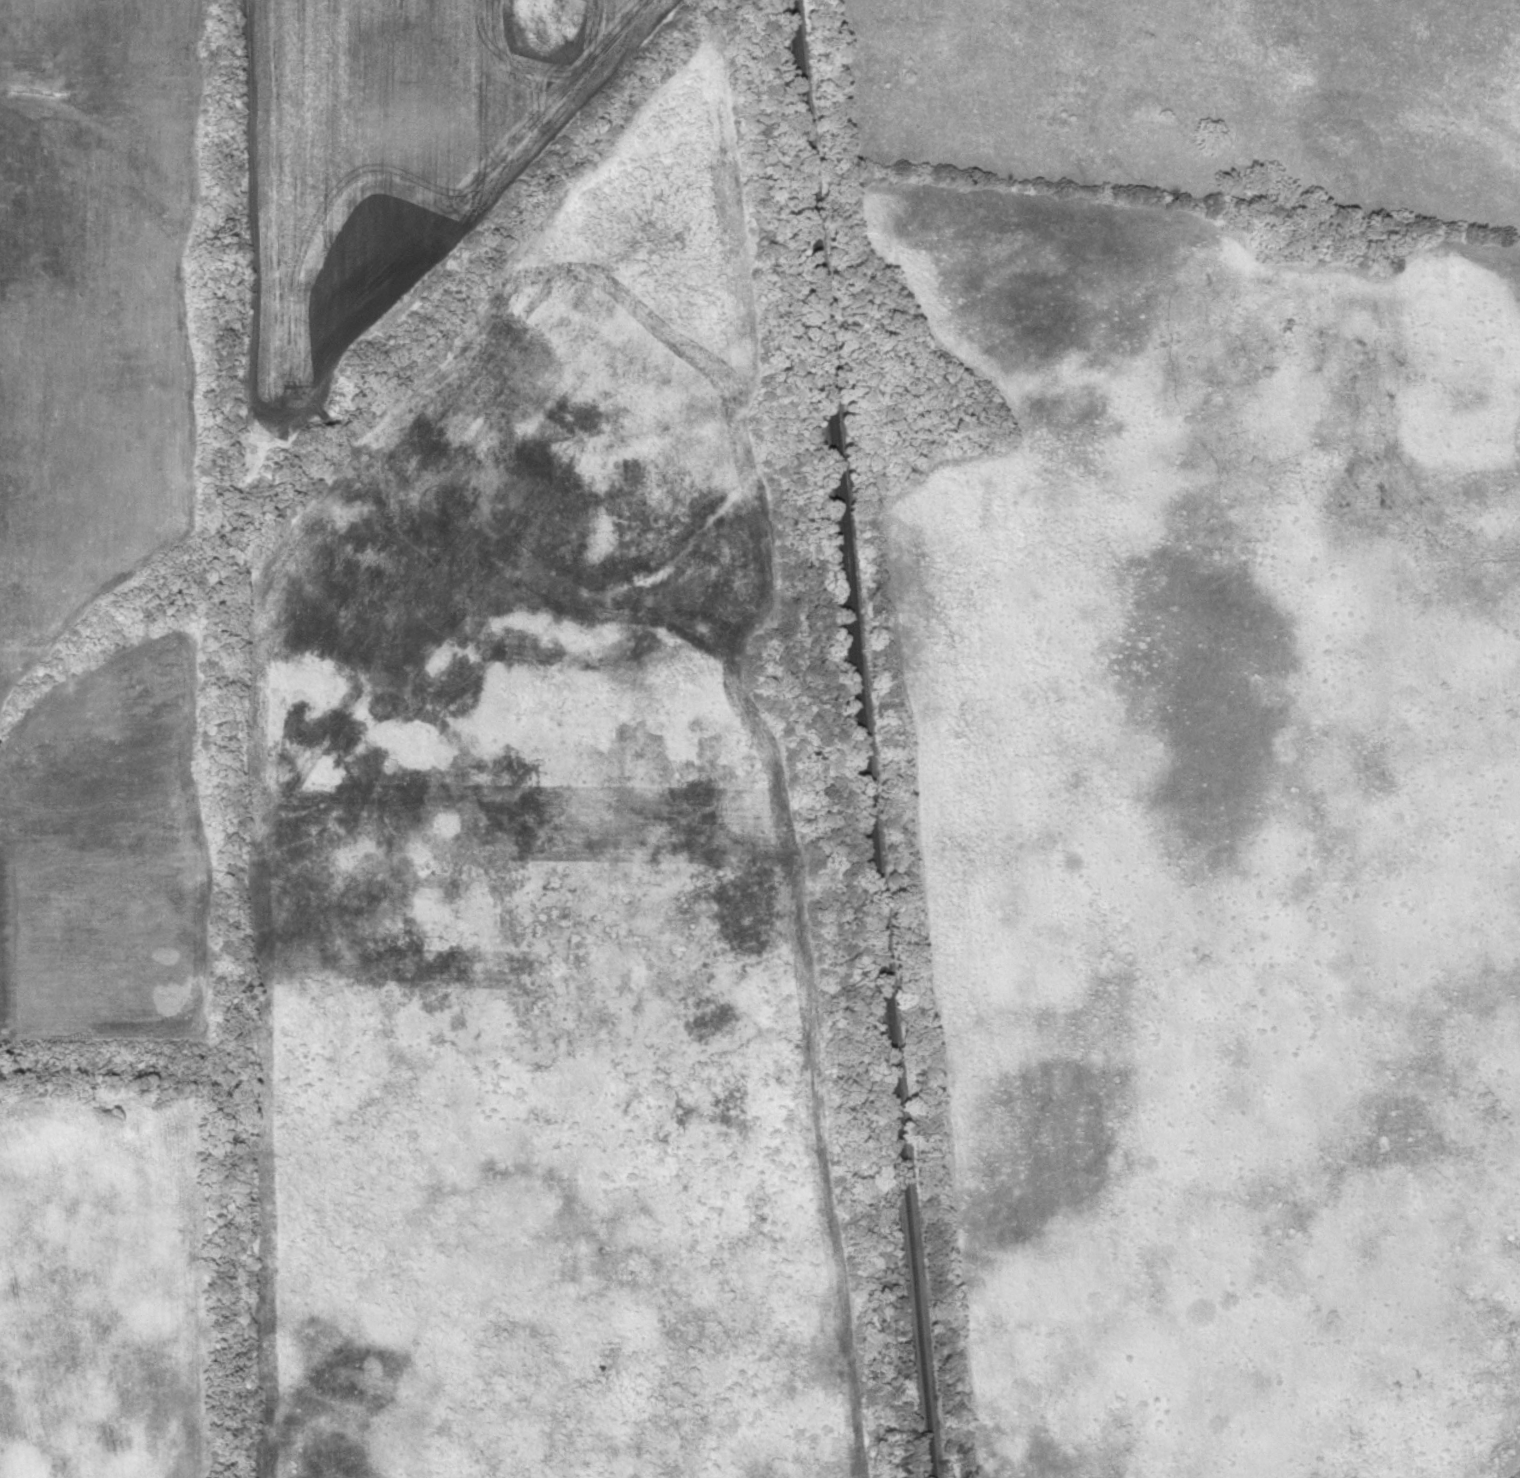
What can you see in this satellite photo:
railway: (845, 738)

